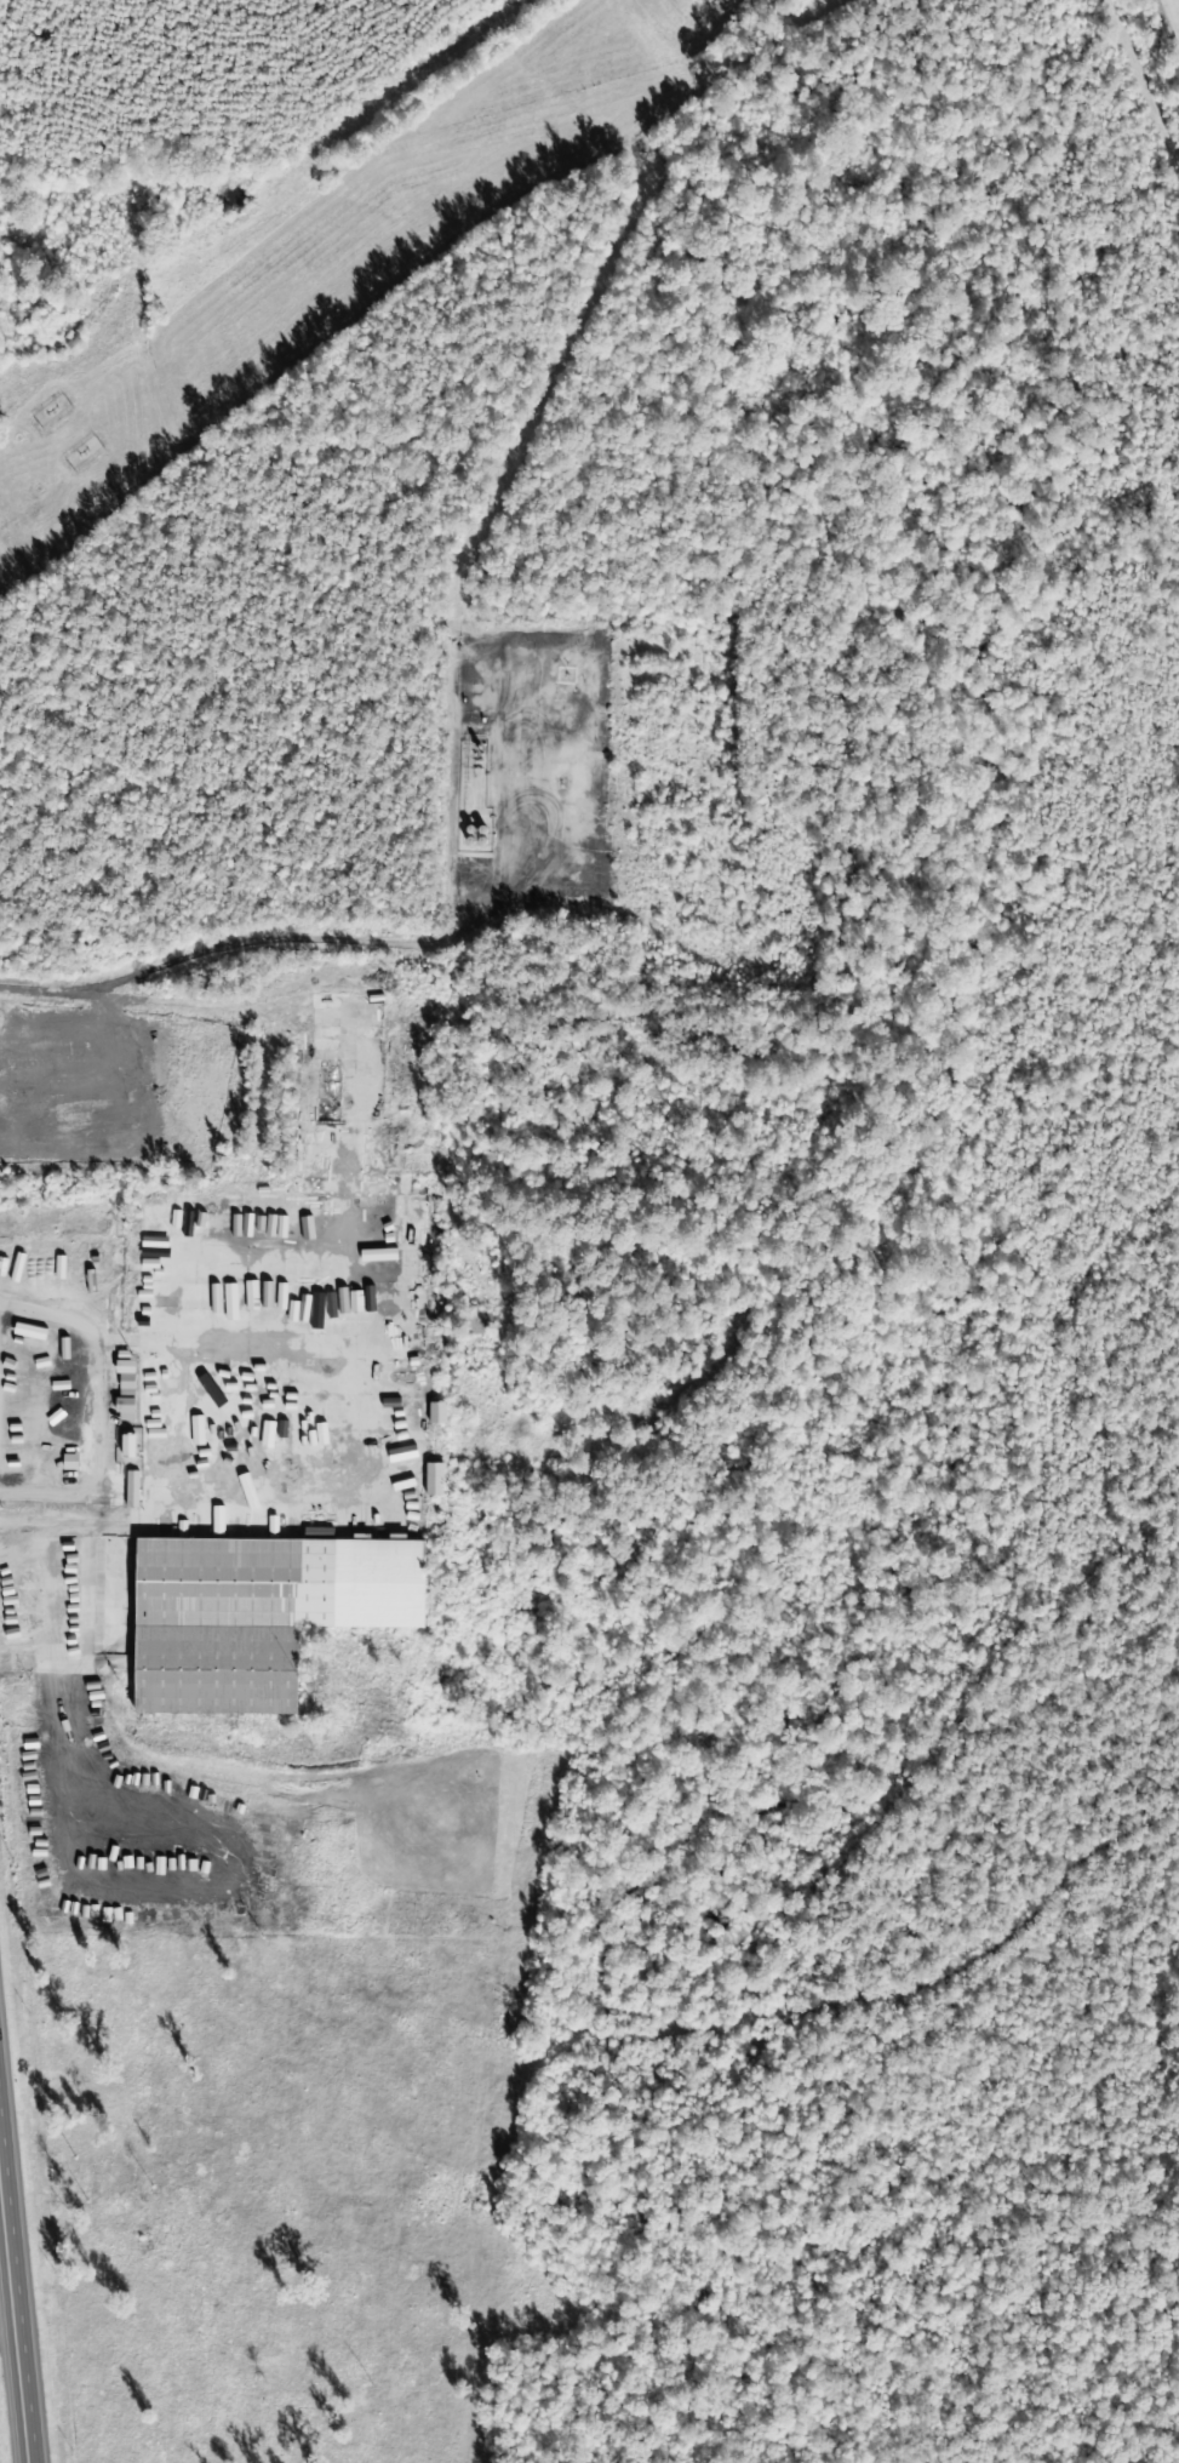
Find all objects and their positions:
railway: (1138, 96)
building: (470, 838)
building: (269, 1424)
road: (13, 2326)

